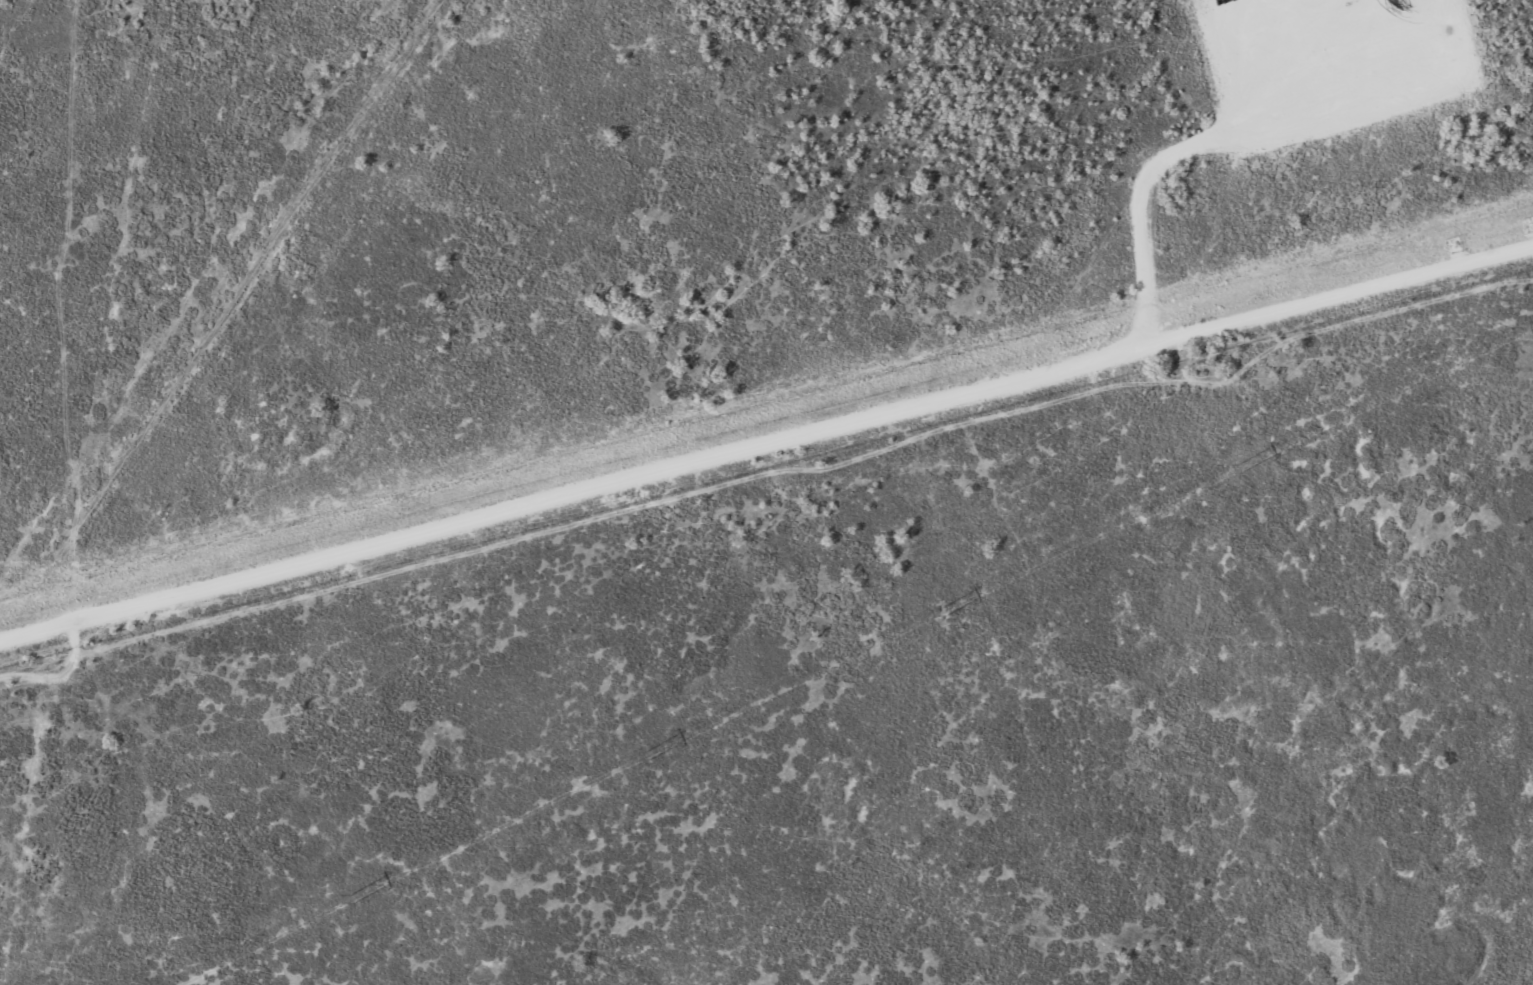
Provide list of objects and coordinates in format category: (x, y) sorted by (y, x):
power tower: (1244, 462)
power tower: (948, 607)
power tower: (650, 753)
power tower: (355, 896)

